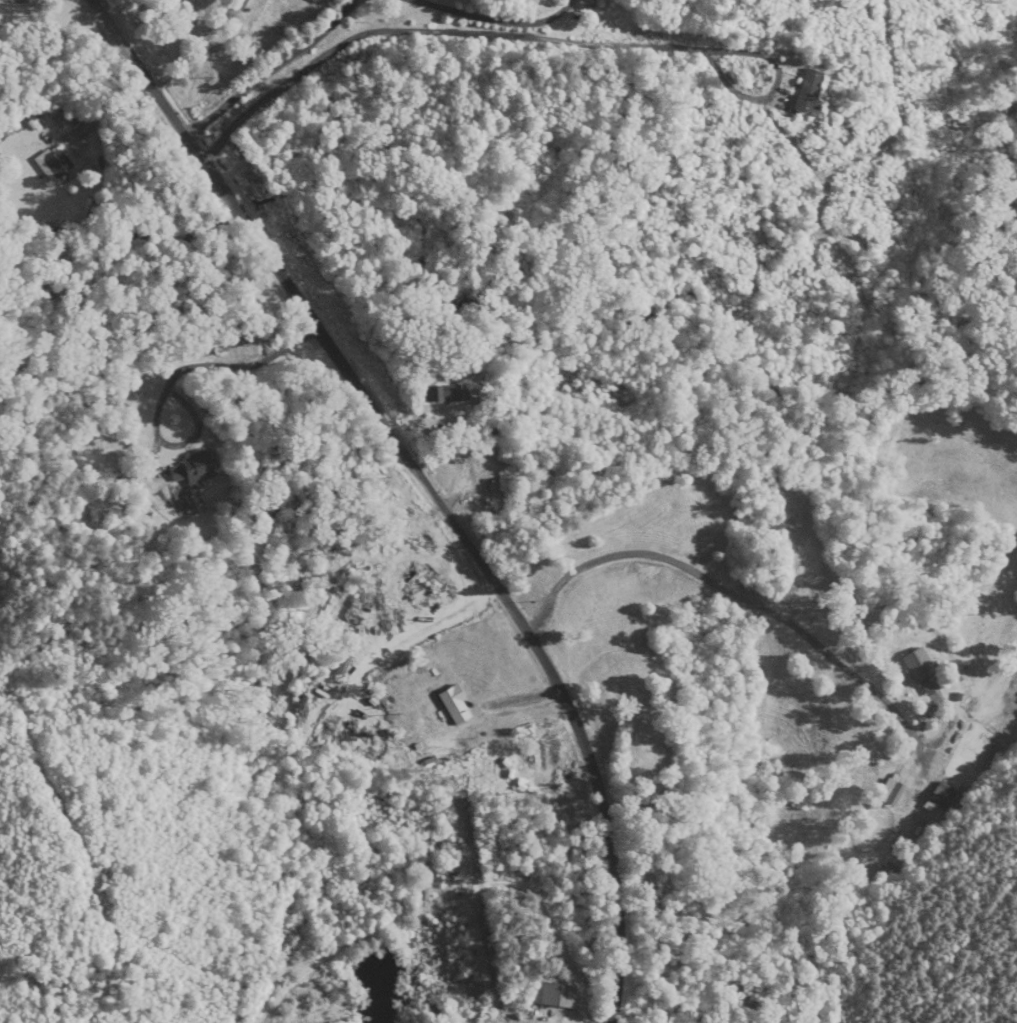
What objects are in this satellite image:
road: (499, 19)
road: (535, 37)
road: (193, 53)
road: (274, 67)
building: (810, 92)
building: (63, 115)
building: (57, 165)
road: (120, 203)
road: (171, 378)
building: (446, 395)
building: (196, 468)
road: (432, 483)
road: (724, 587)
building: (345, 663)
building: (919, 665)
building: (457, 705)
building: (896, 794)
building: (942, 796)
building: (558, 994)
building: (433, 1014)

